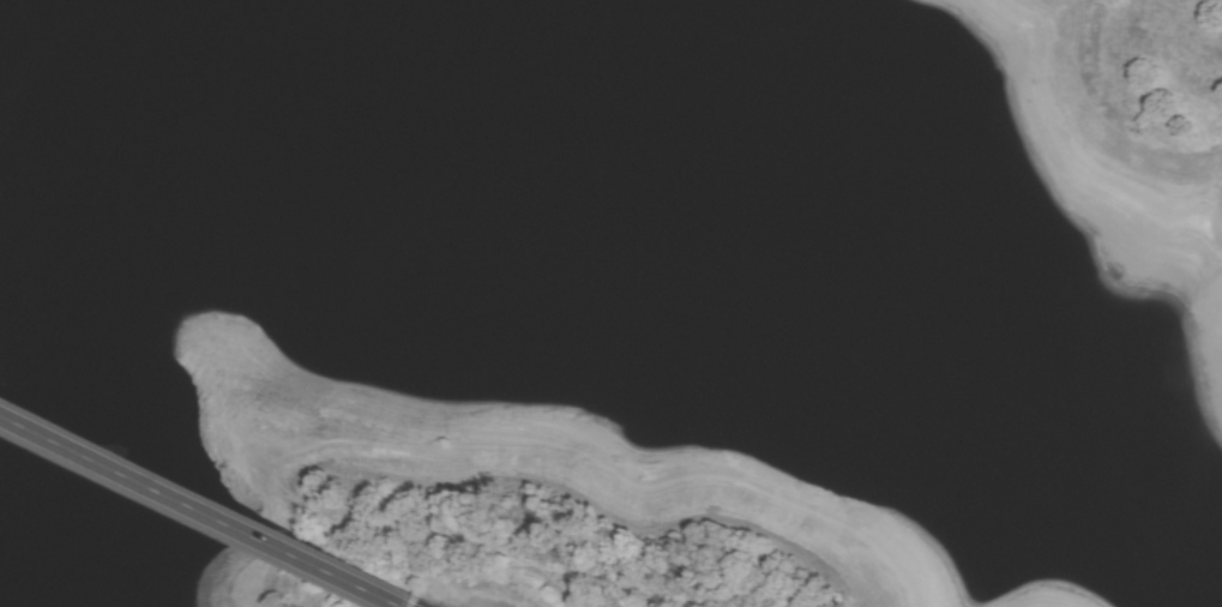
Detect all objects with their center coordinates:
road: (193, 513)

